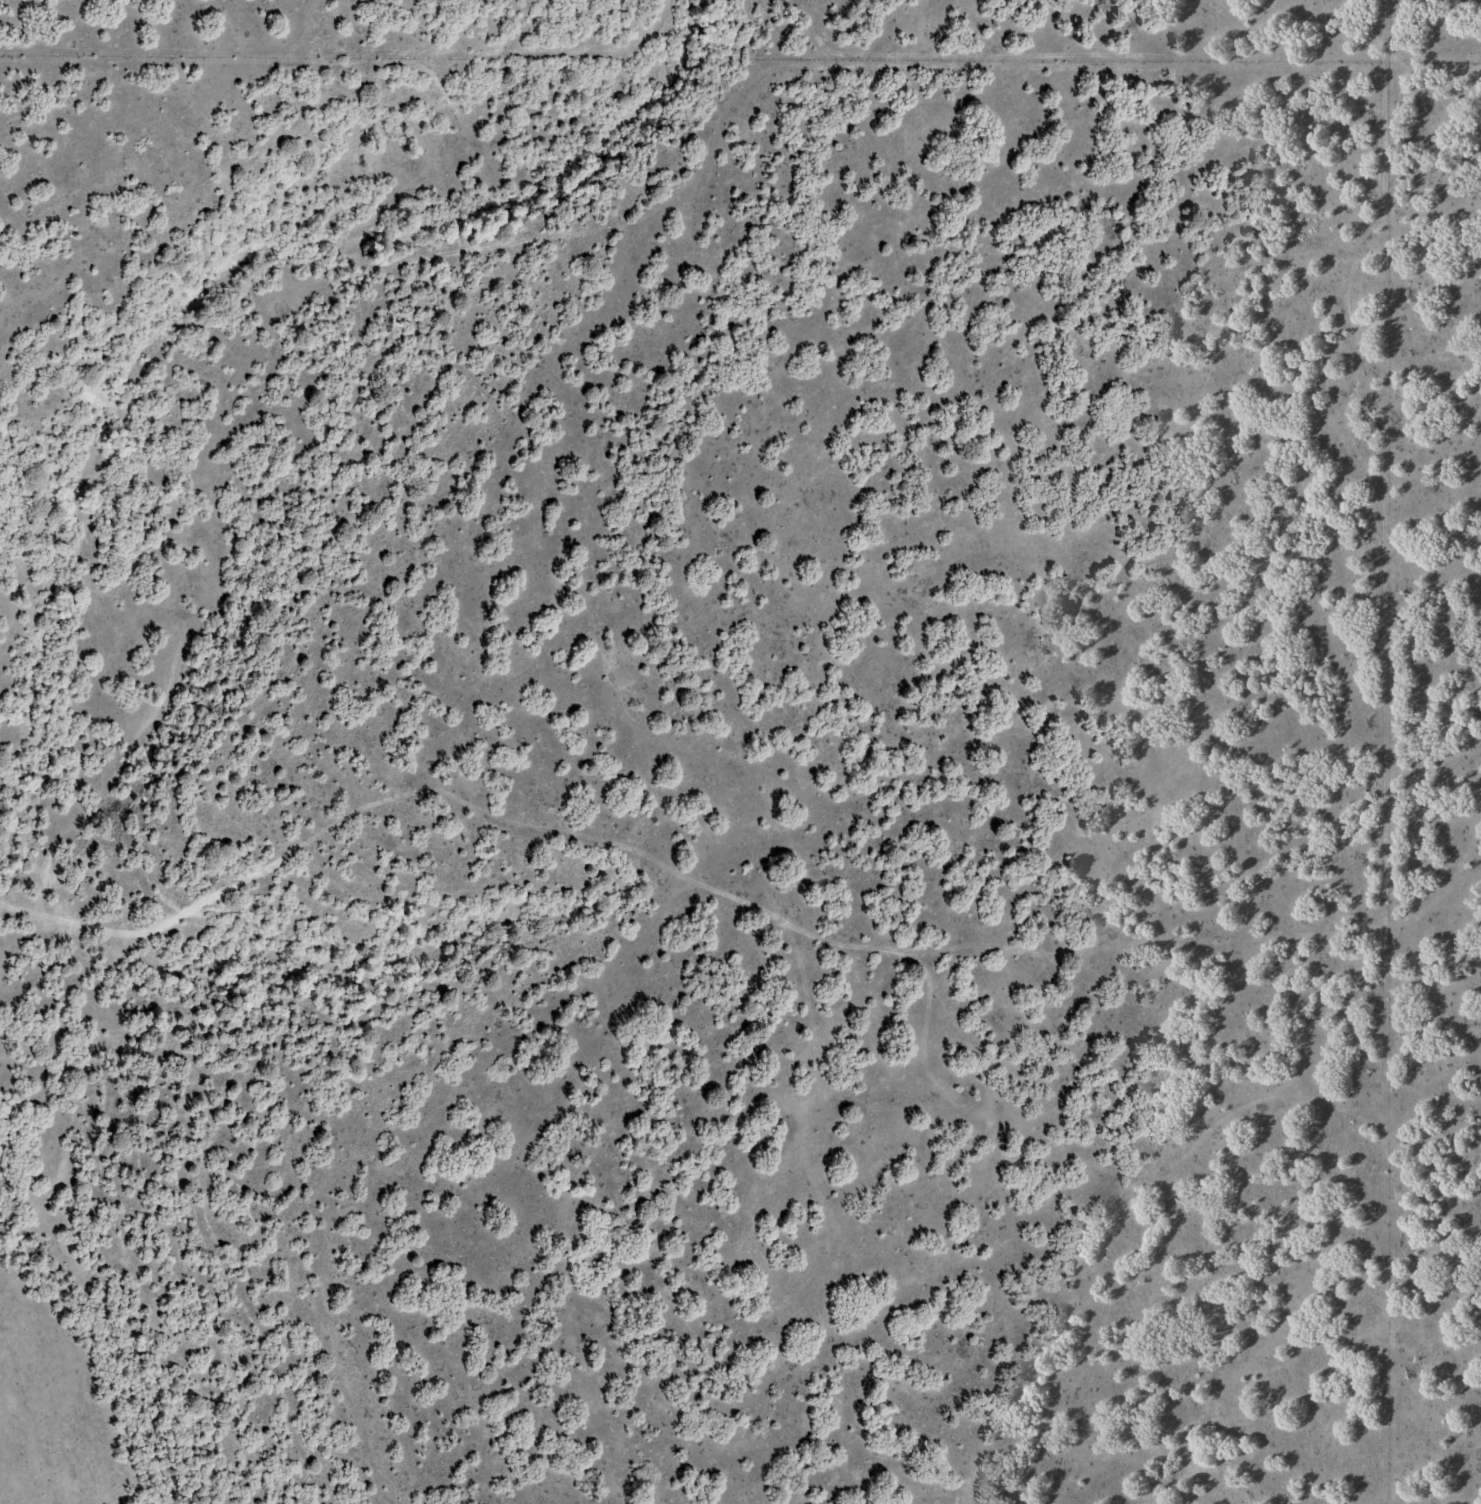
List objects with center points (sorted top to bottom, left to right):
road: (749, 900)

